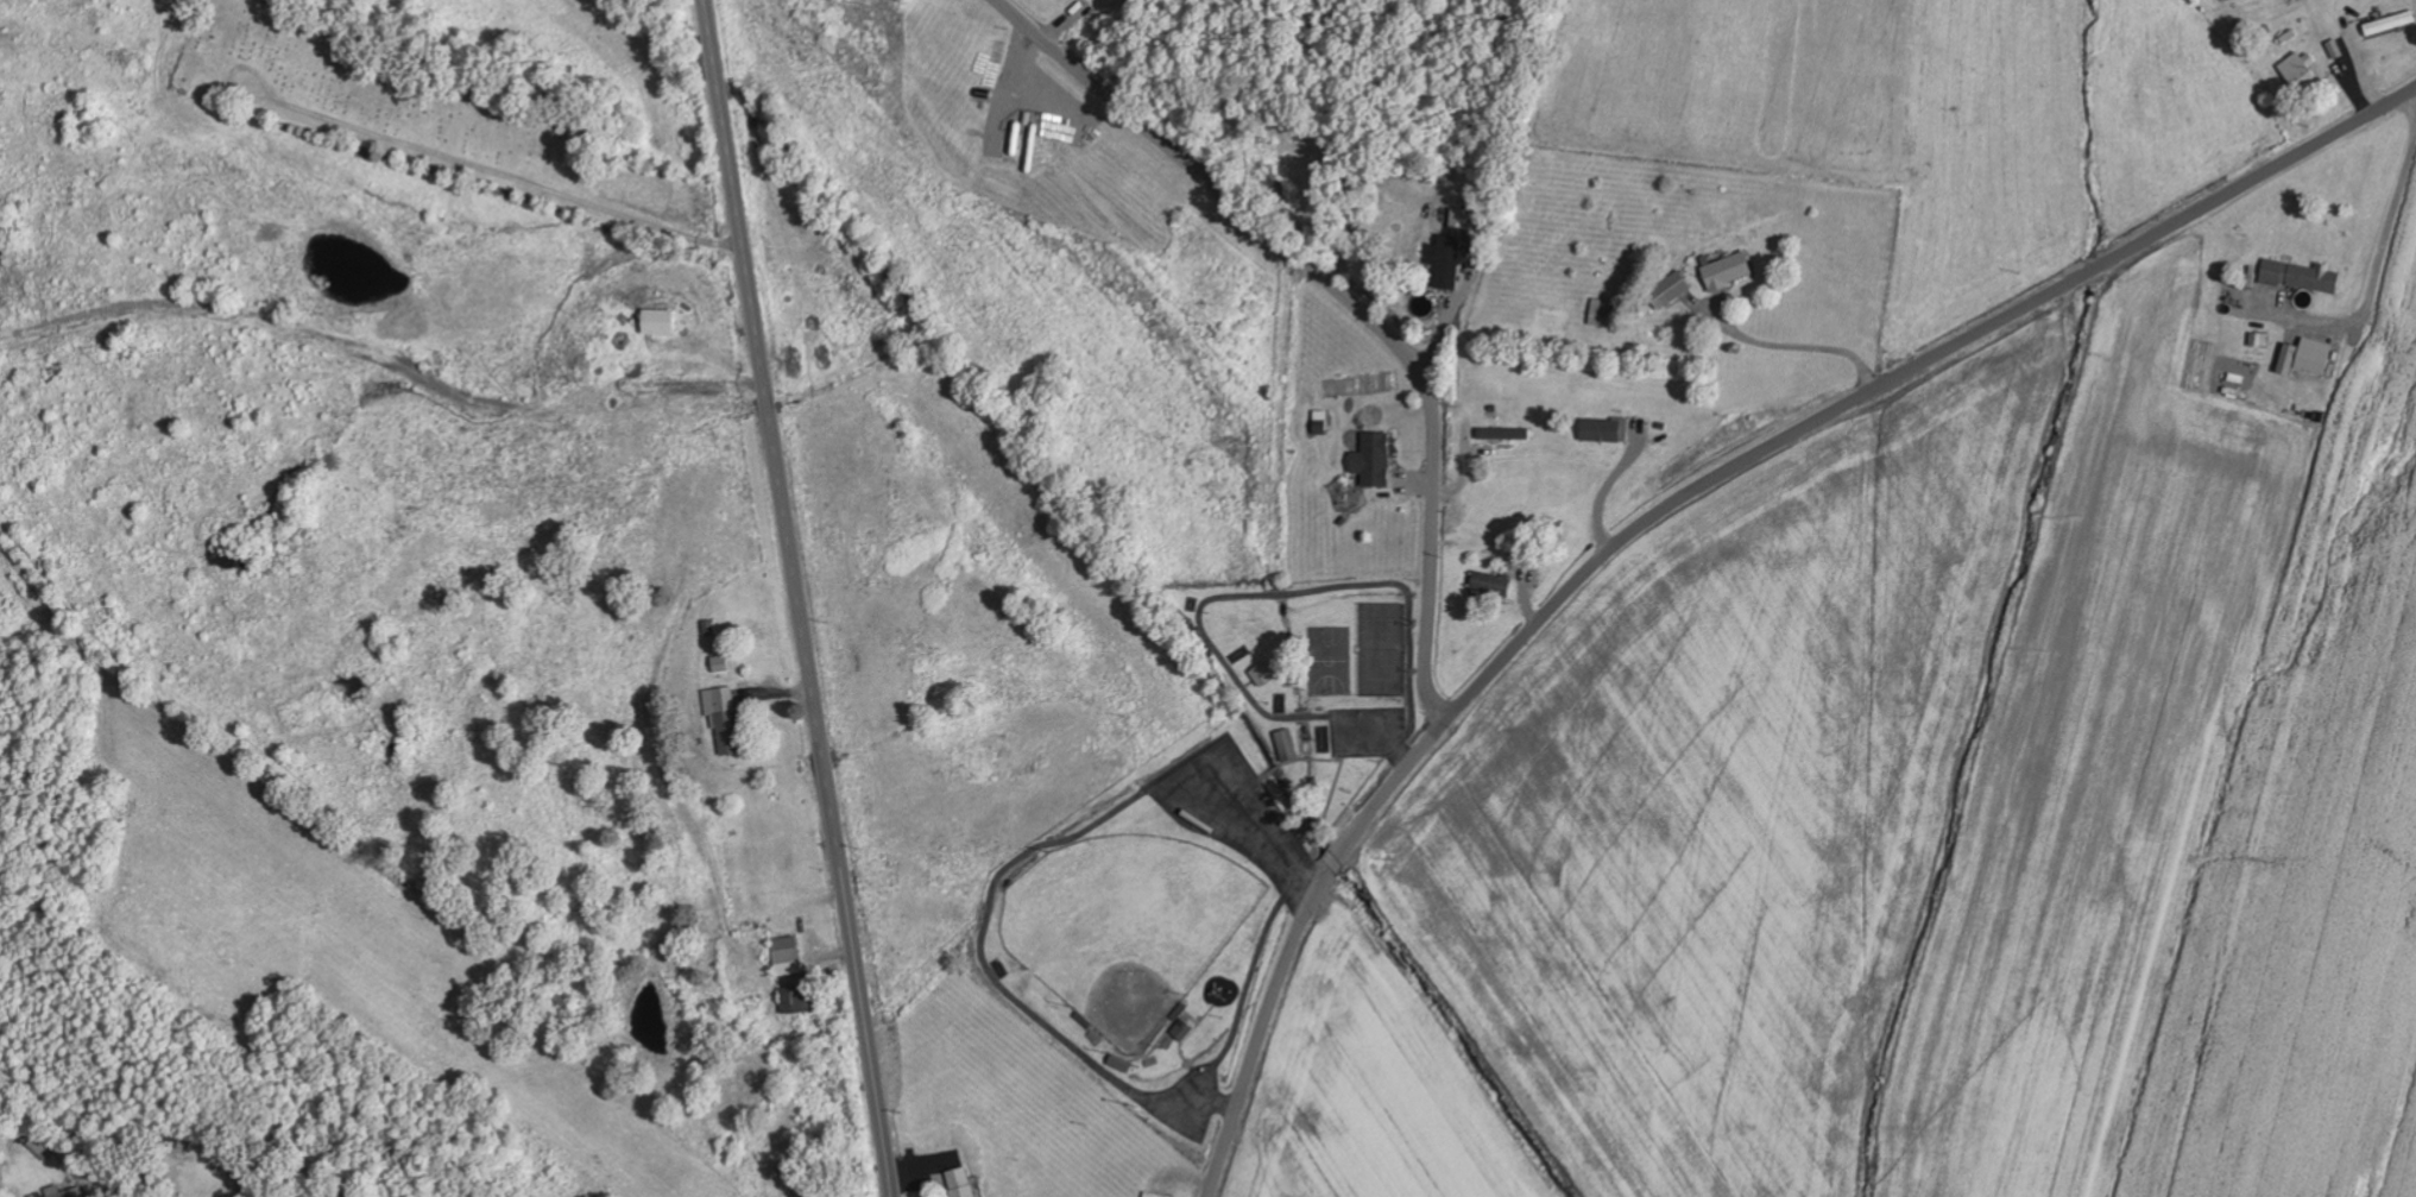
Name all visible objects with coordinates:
building: (2297, 70)
park: (396, 95)
building: (1458, 218)
building: (1445, 259)
building: (1726, 270)
building: (2300, 275)
building: (1669, 289)
road: (1346, 297)
building: (1600, 311)
building: (657, 320)
building: (2259, 339)
building: (2304, 355)
building: (1603, 429)
building: (1502, 433)
building: (1371, 458)
road: (1673, 506)
building: (1488, 582)
road: (796, 598)
building: (719, 662)
building: (1261, 673)
building: (724, 717)
building: (1285, 743)
building: (784, 955)
building: (796, 998)
building: (1180, 1028)
building: (38, 1148)
building: (960, 1182)
building: (62, 1191)

